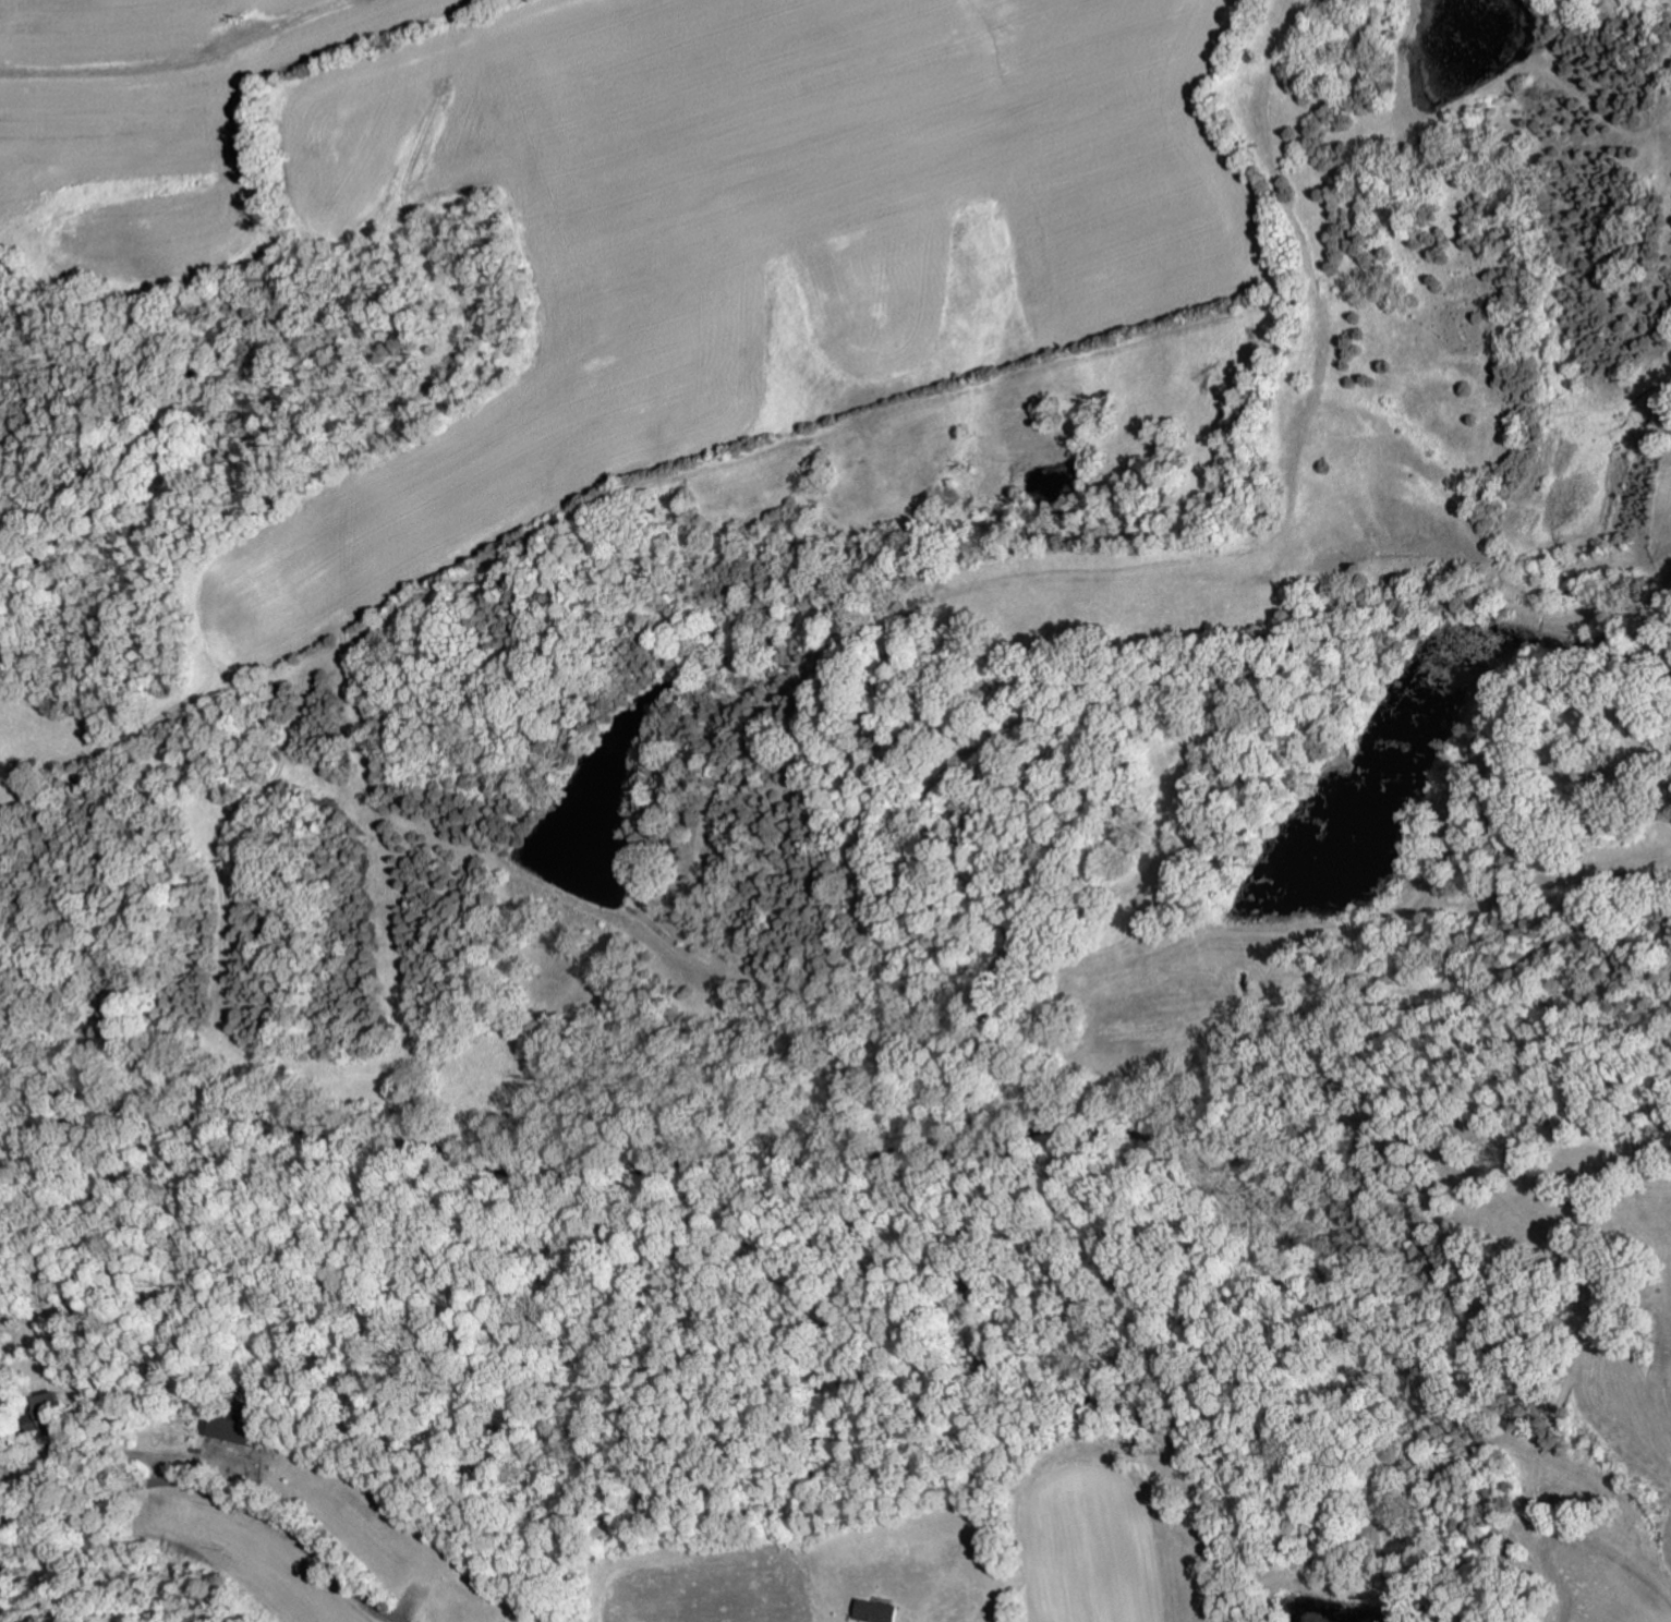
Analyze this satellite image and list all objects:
building: (44, 1402)
building: (223, 1429)
road: (215, 1497)
building: (872, 1611)

